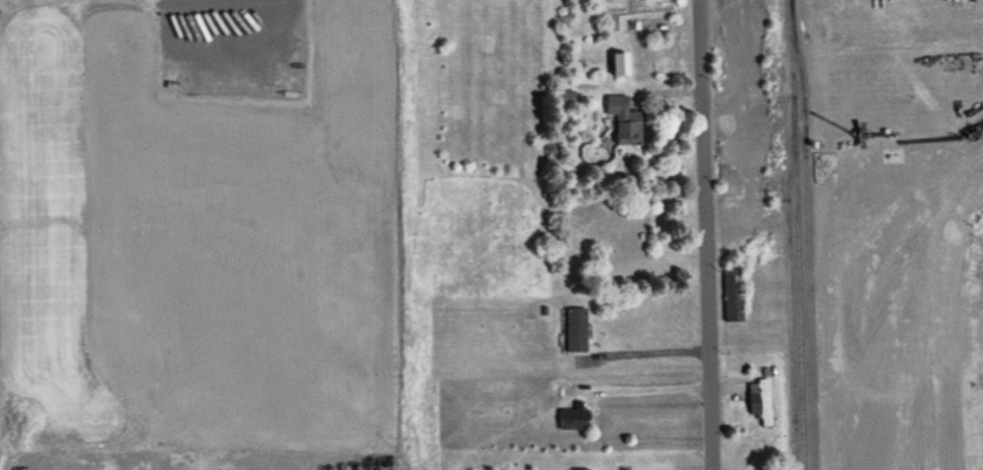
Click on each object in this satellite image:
building: (620, 62)
building: (624, 118)
railway: (797, 234)
railway: (808, 234)
road: (705, 235)
railway: (792, 300)
building: (576, 328)
building: (760, 398)
building: (574, 416)
building: (581, 468)

